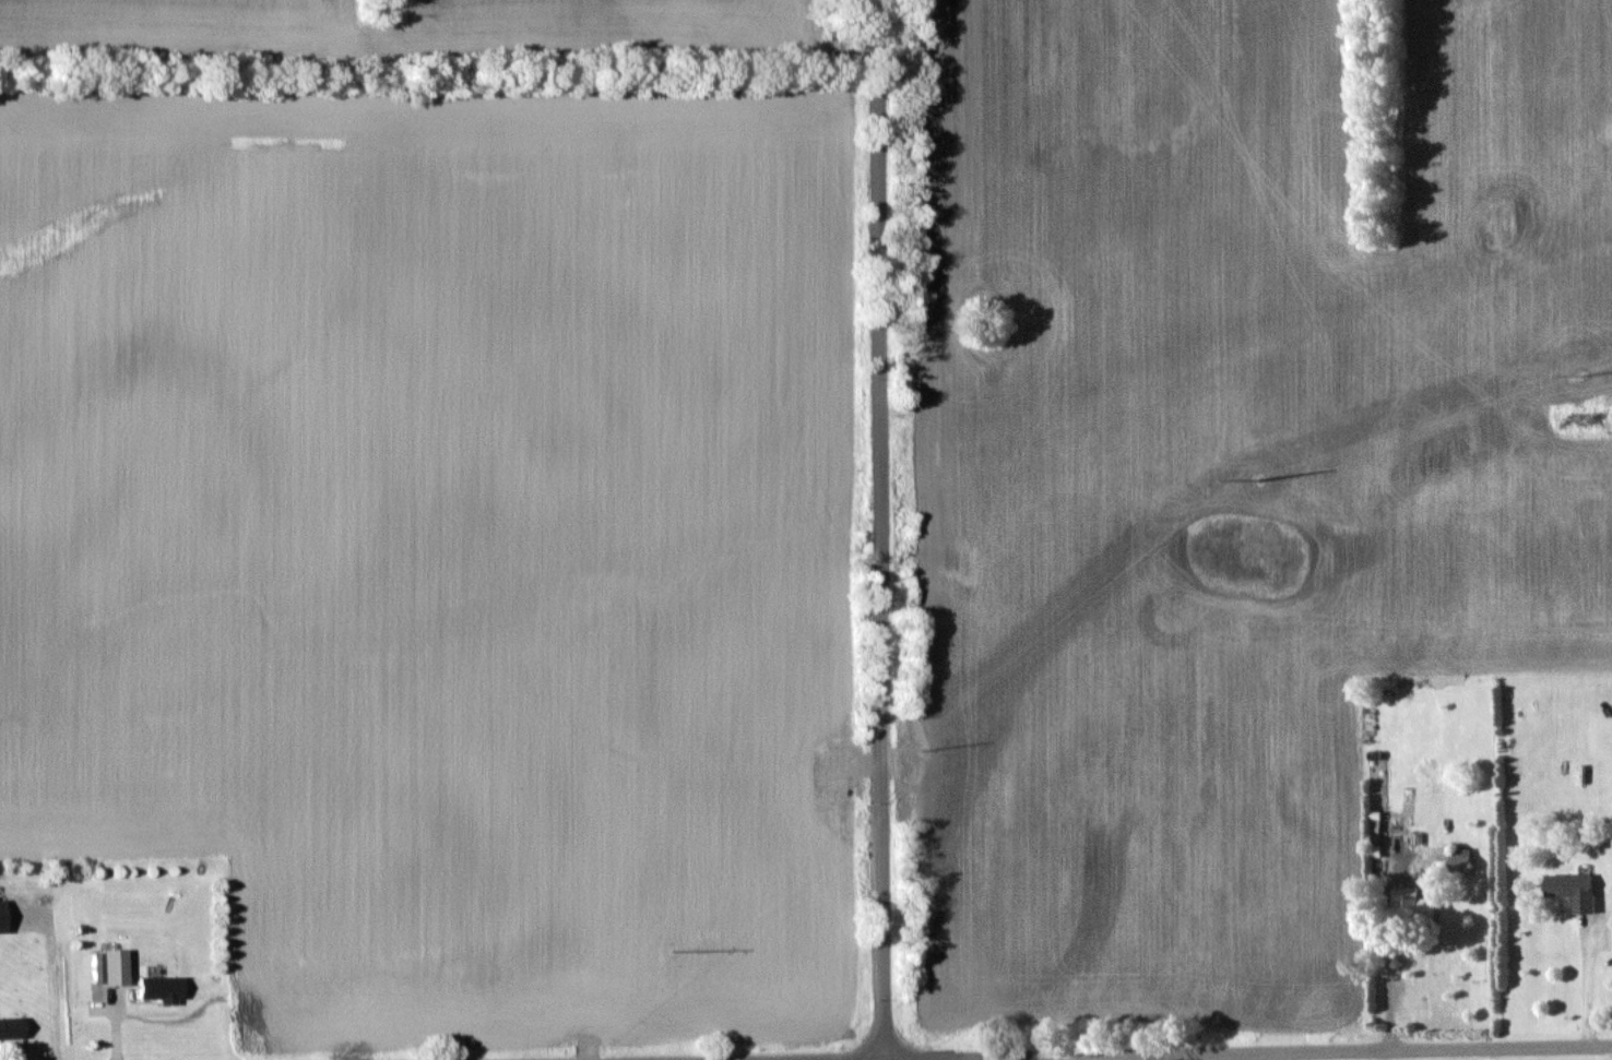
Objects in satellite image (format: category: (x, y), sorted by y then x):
road: (882, 528)
building: (1461, 858)
building: (1574, 889)
building: (1411, 900)
building: (1, 916)
building: (108, 966)
road: (1592, 979)
building: (161, 988)
road: (1386, 989)
building: (11, 1027)
road: (1248, 1050)
road: (786, 1058)

